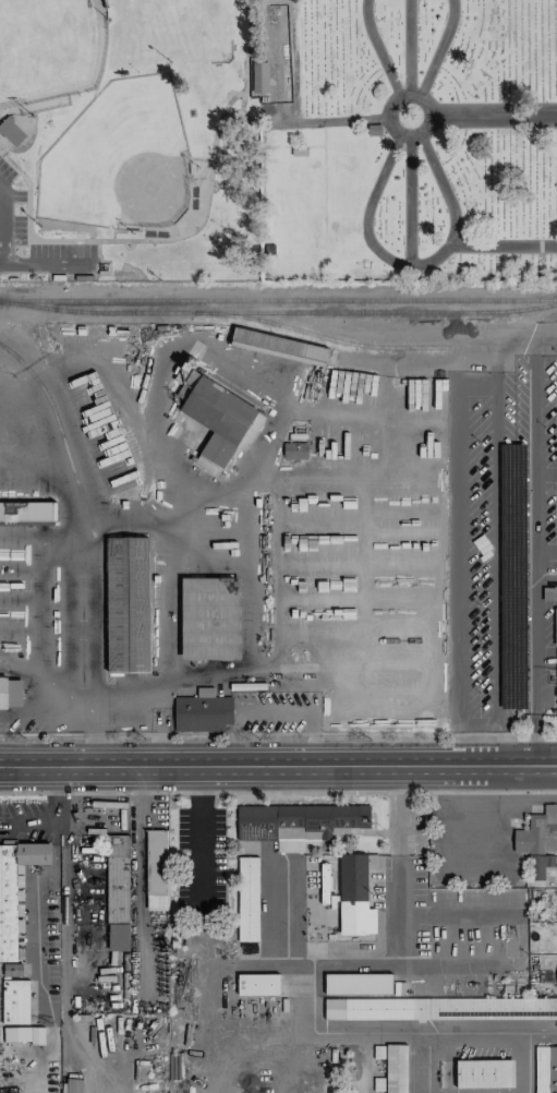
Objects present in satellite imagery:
road: (408, 46)
road: (438, 48)
road: (377, 49)
building: (259, 76)
road: (414, 93)
road: (241, 103)
road: (494, 113)
road: (239, 116)
road: (326, 119)
building: (11, 131)
park: (129, 140)
park: (407, 140)
road: (443, 188)
road: (409, 202)
road: (1, 227)
road: (184, 235)
road: (48, 263)
road: (404, 264)
railway: (278, 300)
railway: (278, 313)
road: (513, 334)
road: (545, 334)
railway: (317, 335)
building: (278, 347)
building: (216, 420)
railway: (60, 432)
building: (299, 451)
road: (545, 477)
building: (27, 512)
road: (534, 548)
road: (497, 549)
road: (545, 551)
road: (456, 556)
building: (126, 604)
building: (209, 617)
building: (556, 634)
building: (10, 693)
building: (202, 712)
road: (275, 712)
road: (278, 734)
road: (550, 761)
road: (546, 767)
road: (278, 768)
road: (278, 792)
building: (298, 824)
road: (203, 833)
building: (538, 840)
building: (156, 869)
building: (117, 879)
building: (14, 890)
building: (354, 896)
building: (247, 899)
road: (392, 952)
building: (257, 984)
building: (358, 984)
building: (15, 1001)
building: (440, 1008)
building: (23, 1034)
road: (530, 1050)
building: (396, 1068)
building: (546, 1069)
building: (484, 1073)
building: (73, 1085)

